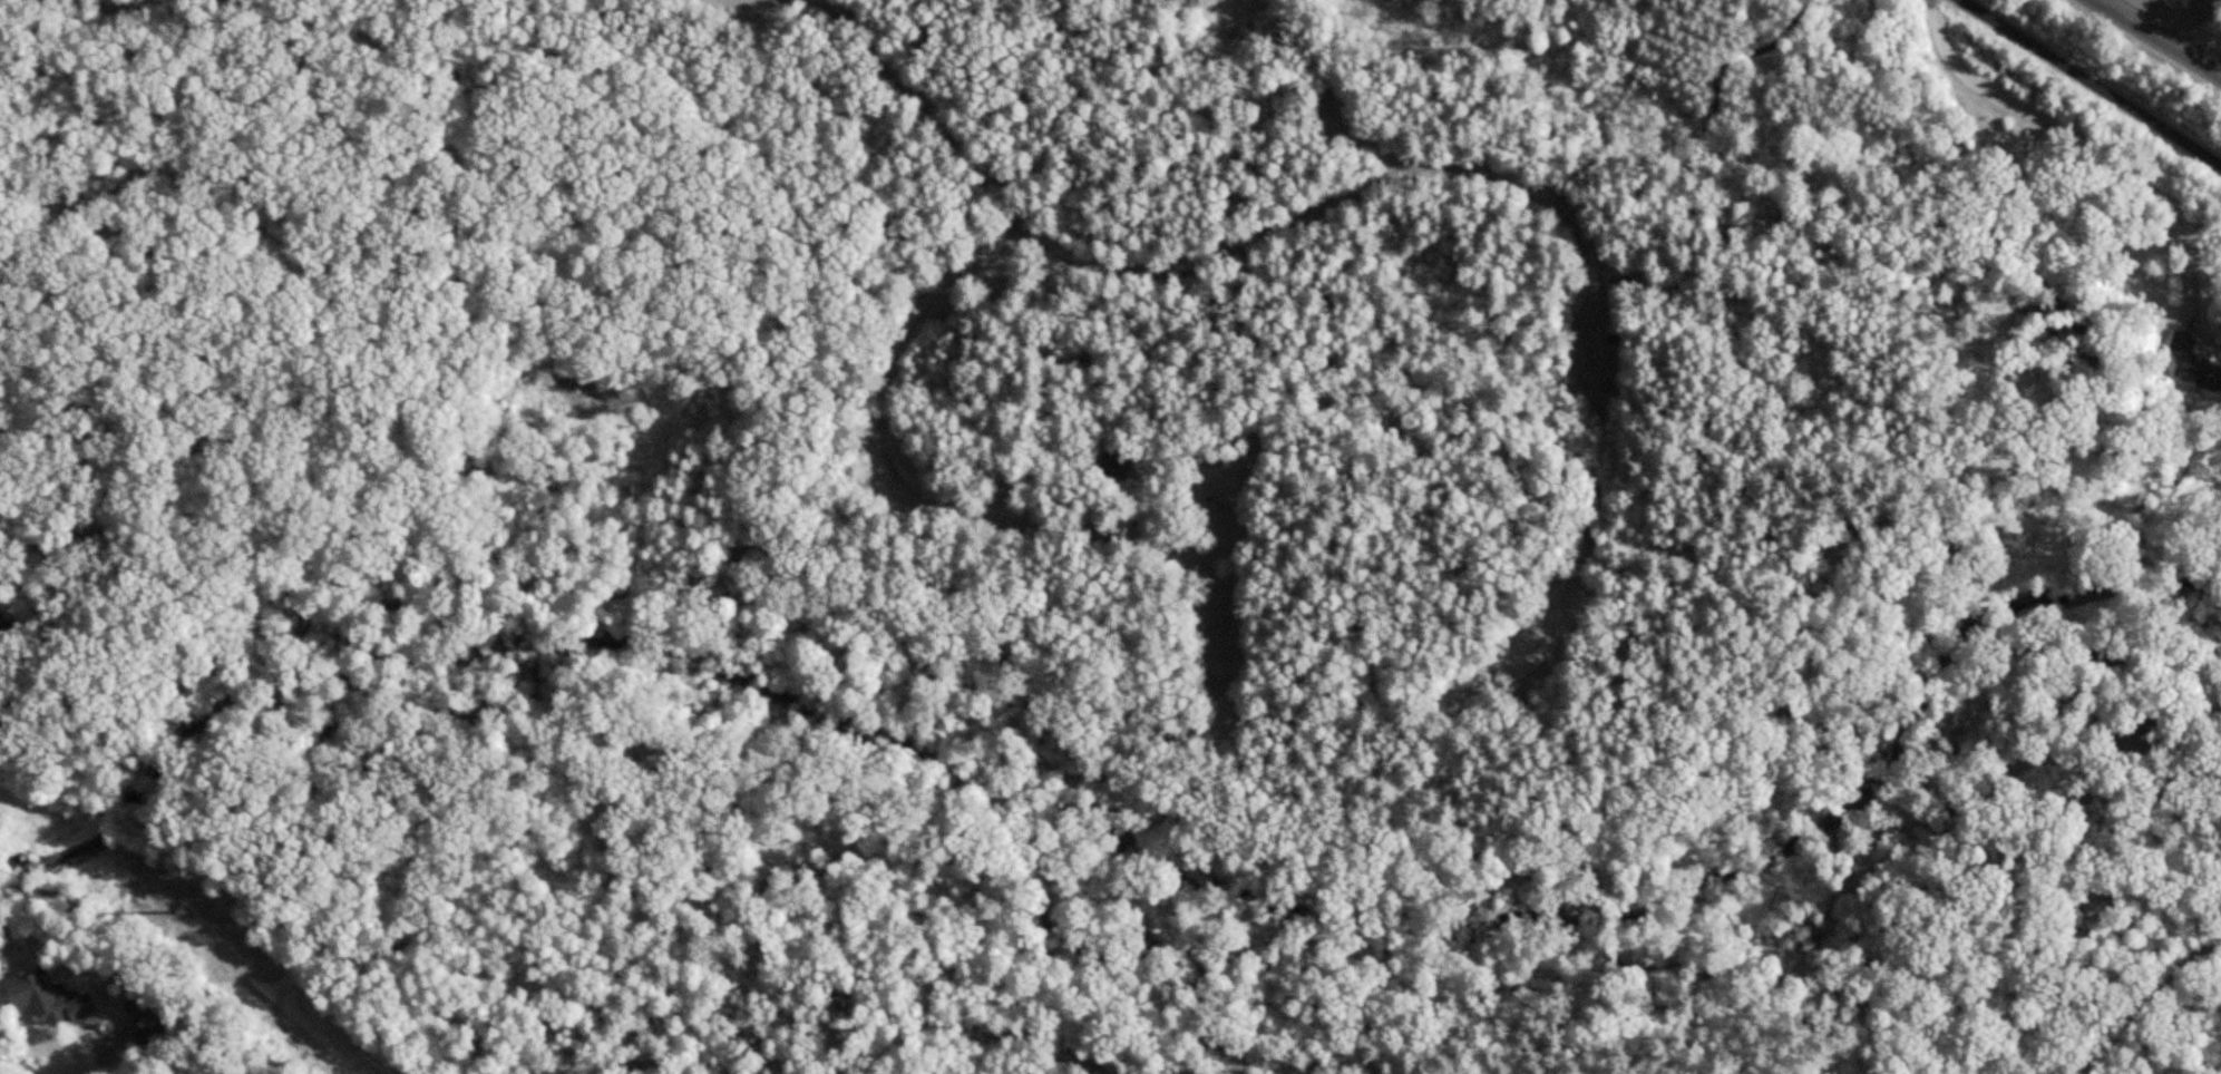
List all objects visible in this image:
road: (2161, 36)
road: (2092, 81)
road: (2039, 120)
road: (2204, 223)
road: (1245, 245)
road: (2188, 286)
building: (2183, 339)
parking lot: (1596, 348)
building: (2205, 372)
building: (1112, 467)
park: (1038, 487)
road: (971, 516)
parking lot: (1226, 651)
power tower: (185, 907)
building: (45, 999)
road: (2139, 999)

